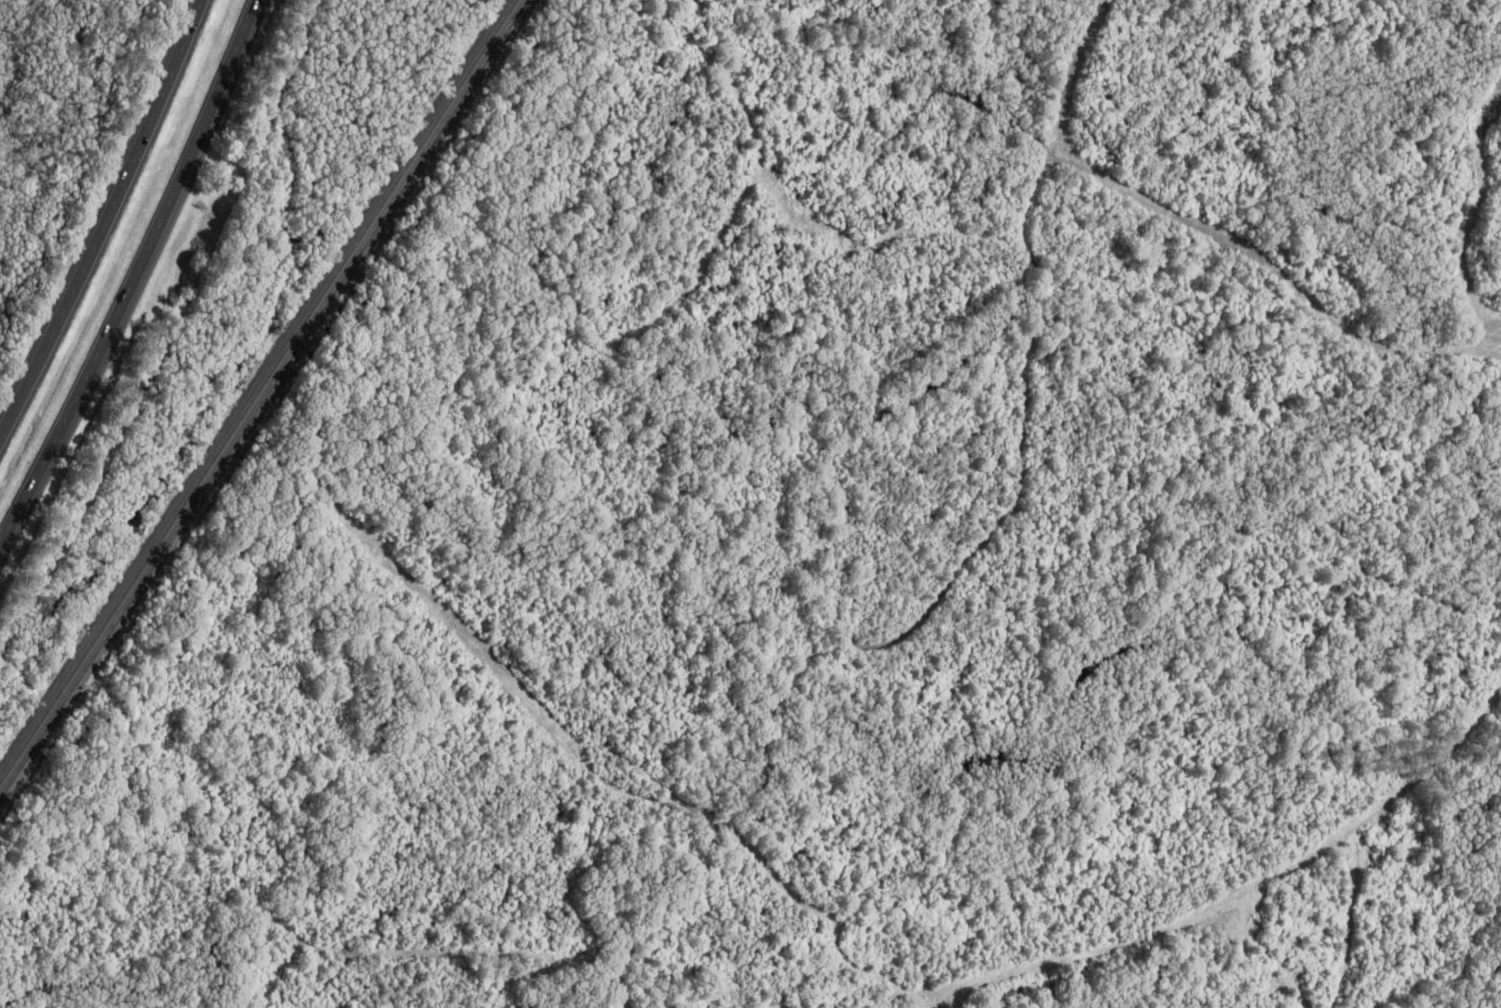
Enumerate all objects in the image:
road: (108, 223)
road: (138, 279)
railway: (257, 391)
railway: (263, 400)

